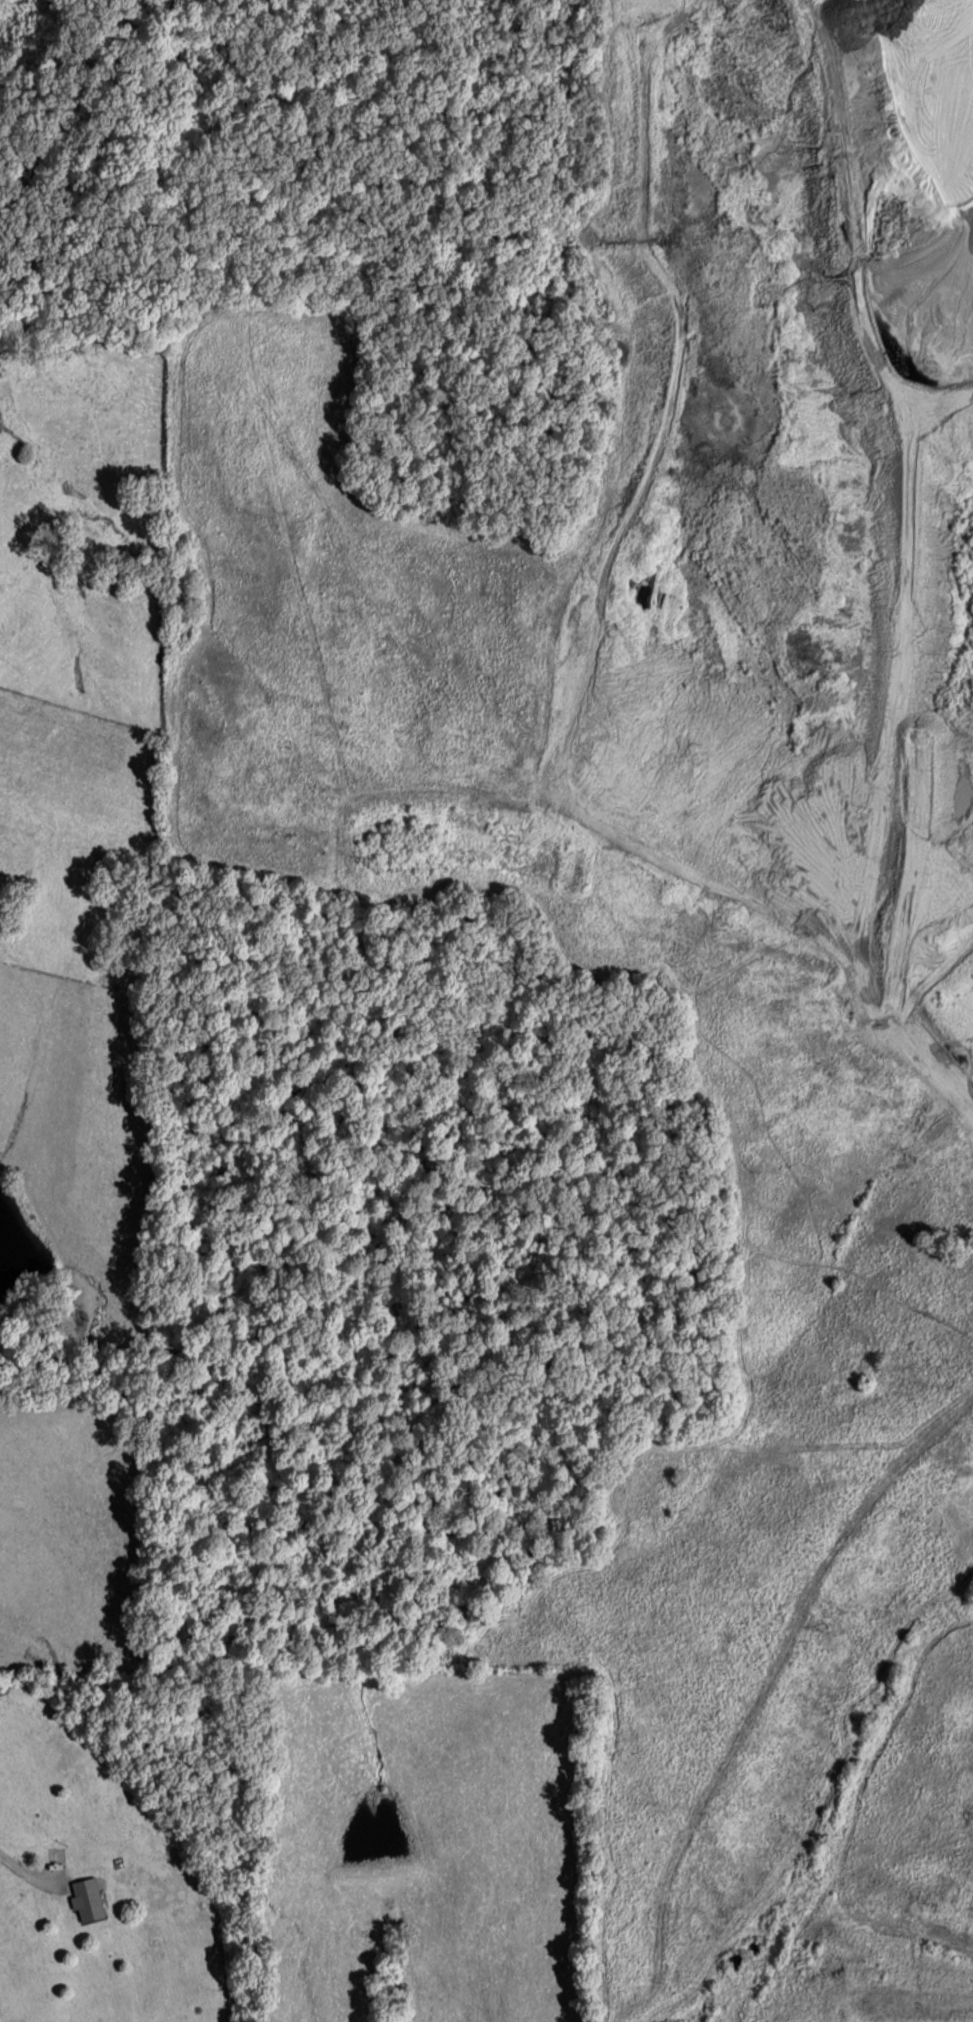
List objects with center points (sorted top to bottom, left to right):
road: (28, 1876)
building: (87, 1900)

